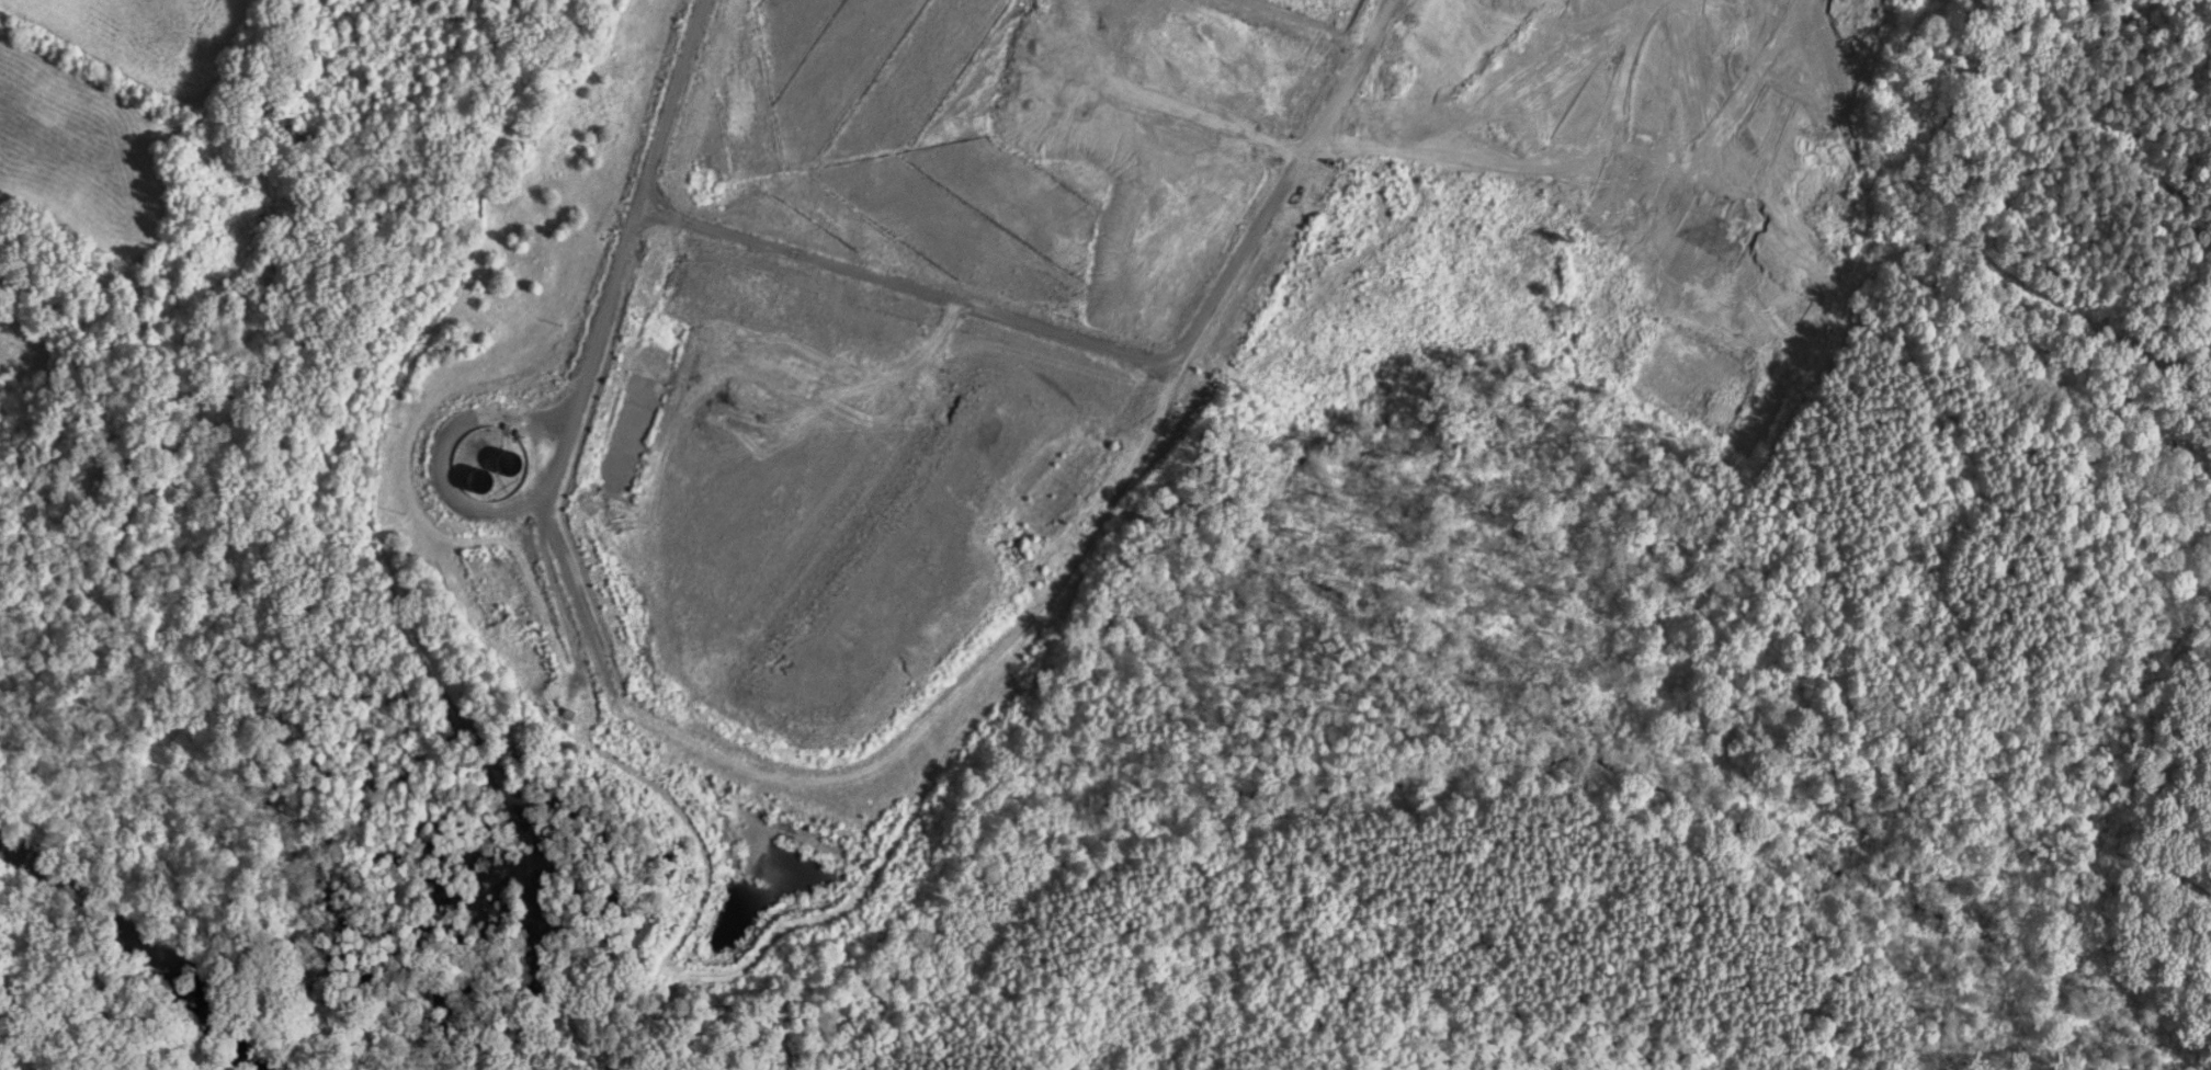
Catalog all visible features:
building: (488, 465)

